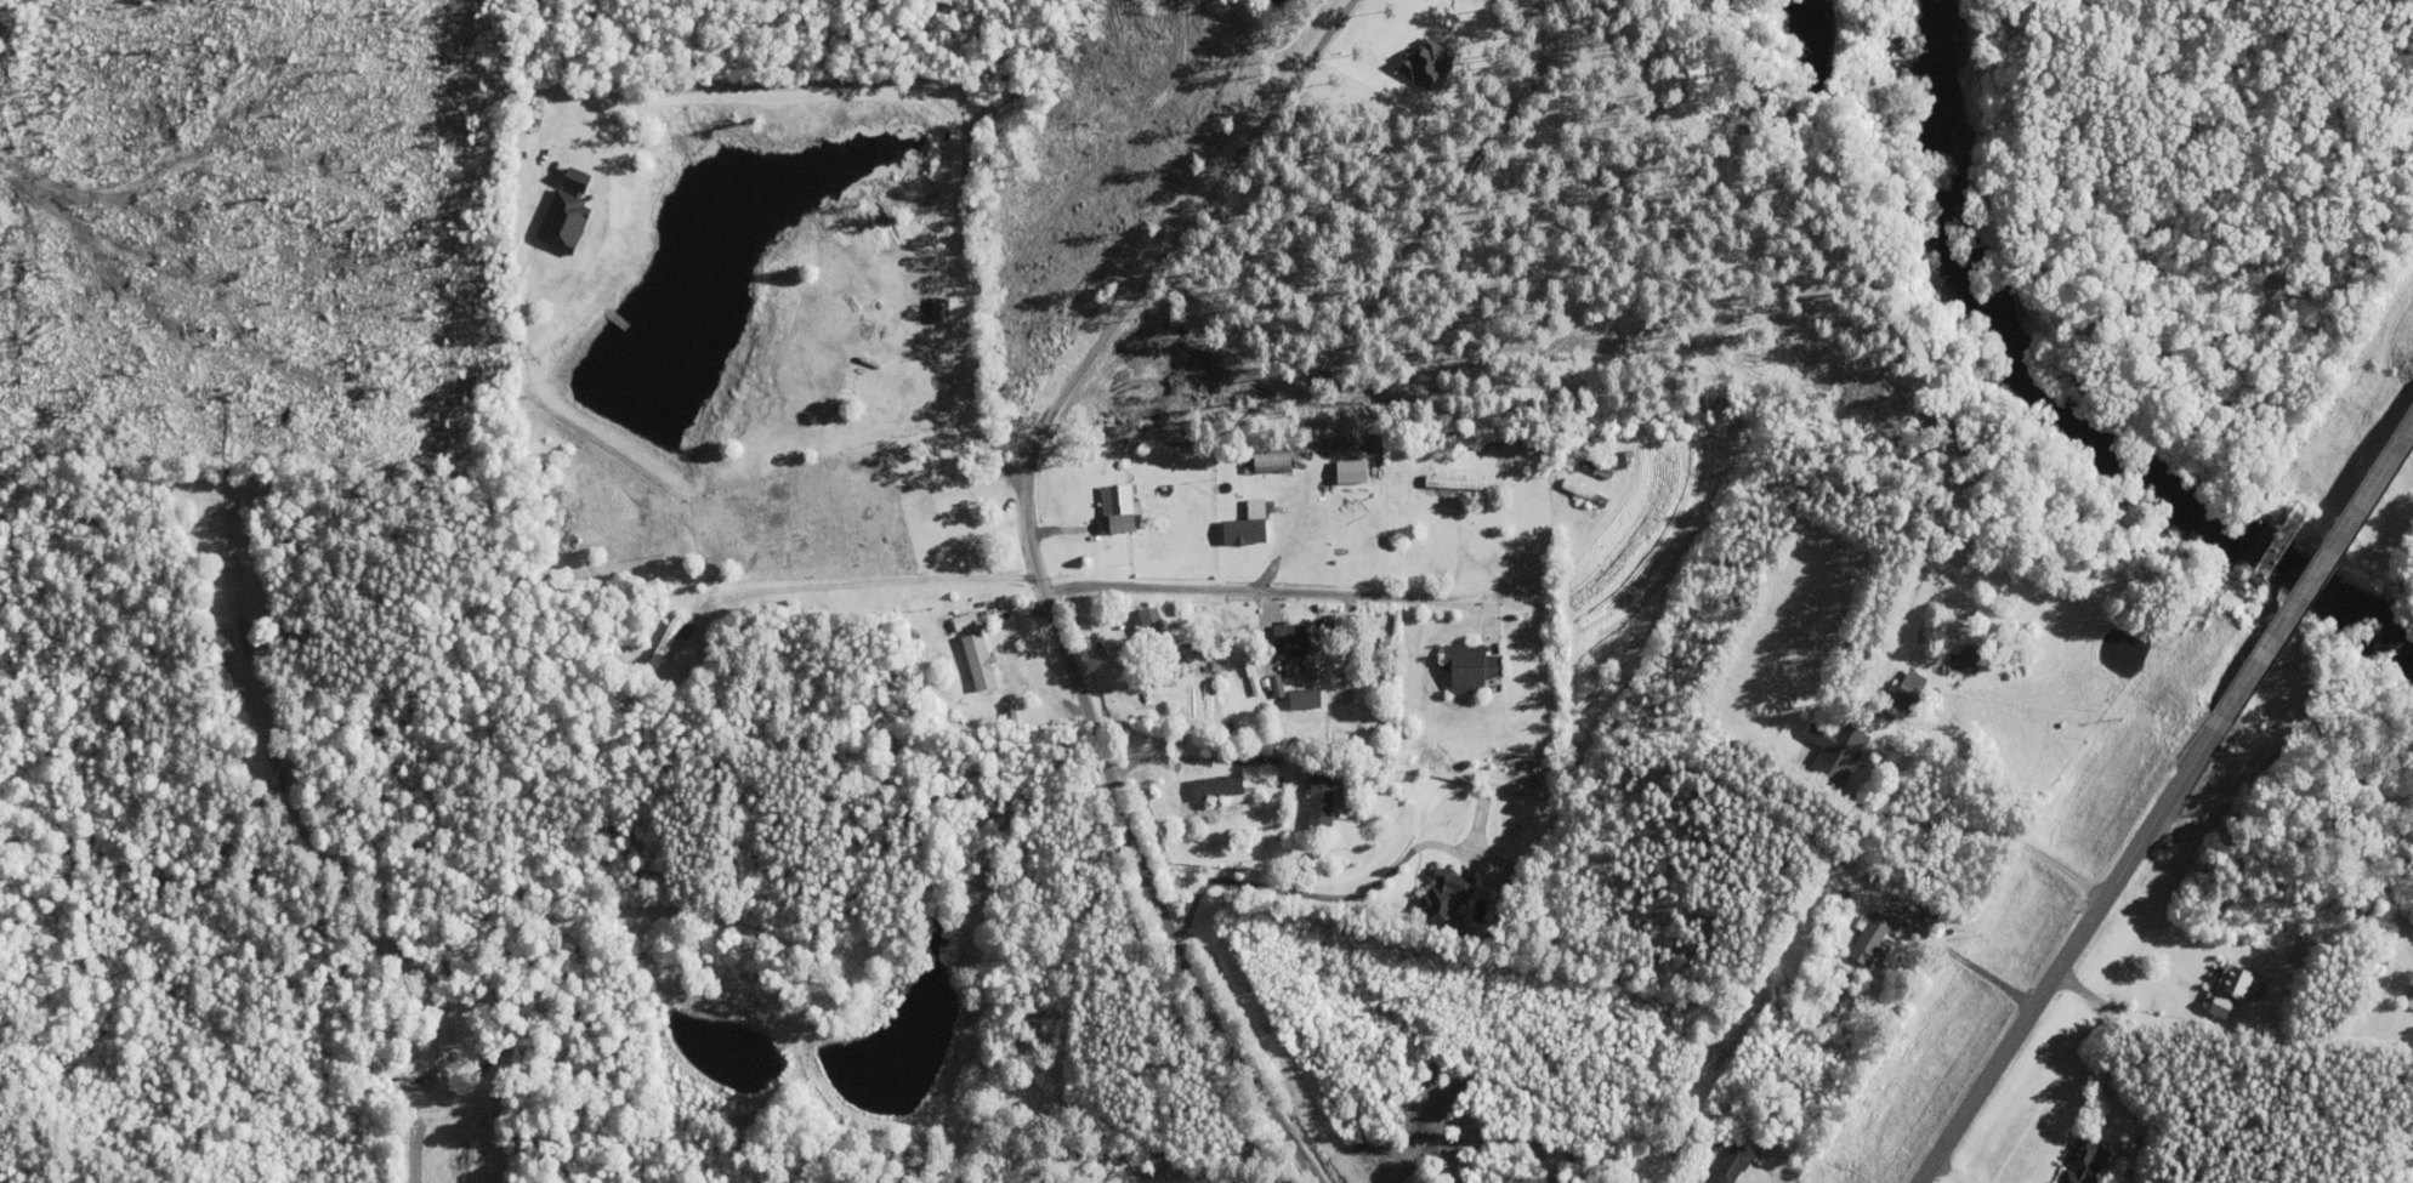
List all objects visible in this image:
river: (1951, 33)
building: (568, 217)
building: (943, 301)
river: (2069, 423)
building: (1276, 460)
building: (1626, 461)
building: (1594, 467)
building: (1454, 482)
building: (1586, 494)
building: (1120, 508)
building: (1247, 531)
road: (1039, 571)
road: (2313, 579)
road: (1273, 590)
building: (1291, 637)
building: (668, 641)
building: (1972, 659)
building: (981, 661)
building: (1475, 665)
building: (1253, 675)
building: (1910, 692)
building: (1830, 747)
building: (1221, 786)
building: (1338, 801)
building: (1520, 876)
building: (1461, 892)
building: (1873, 938)
road: (2066, 956)
building: (2238, 980)
building: (2411, 1002)
building: (2085, 1162)
building: (1734, 1164)
building: (1415, 1178)

